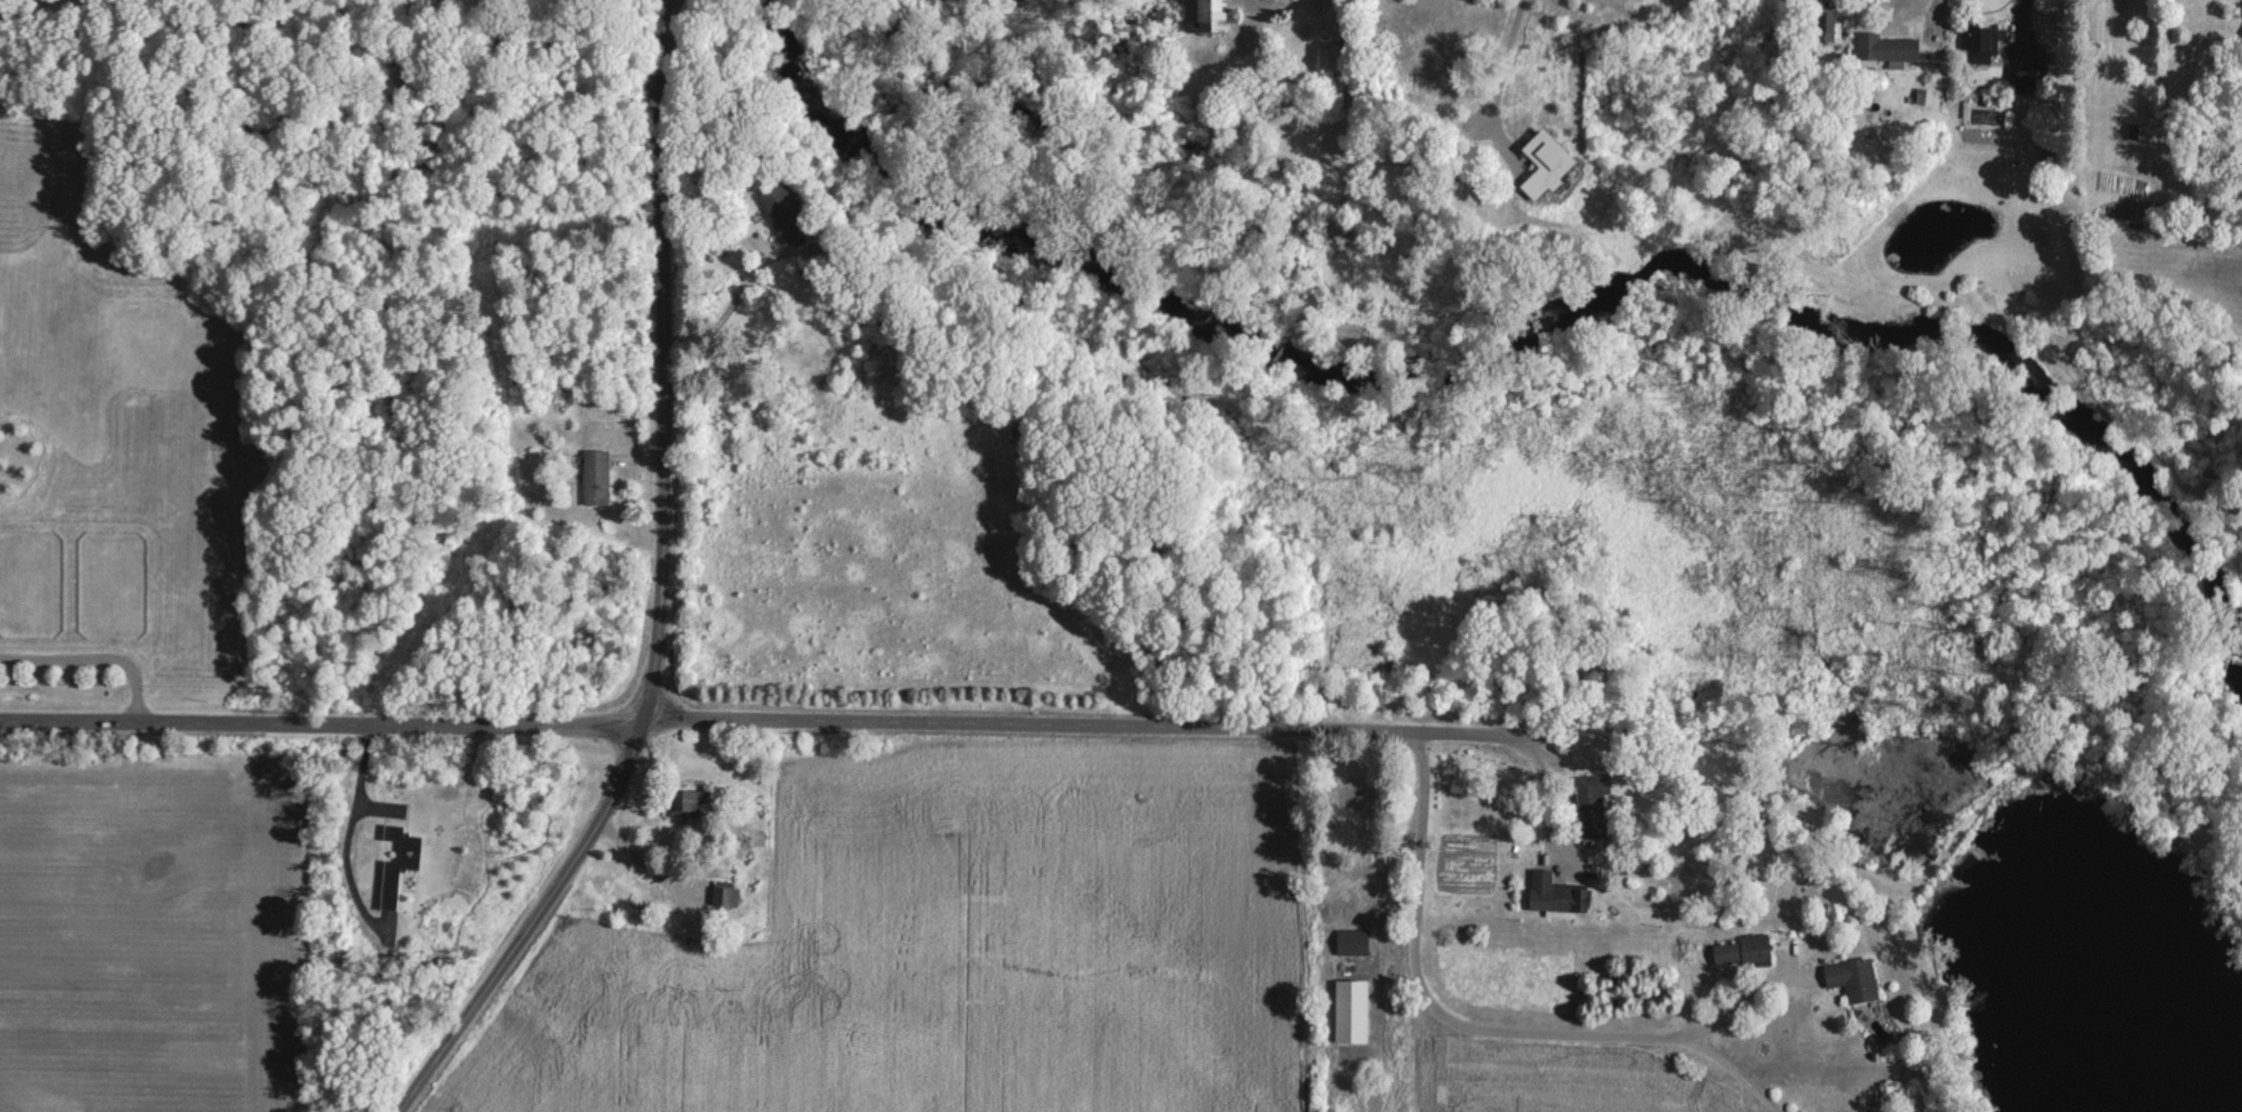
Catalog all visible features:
building: (1203, 14)
building: (1825, 20)
building: (1983, 43)
building: (1884, 46)
building: (1332, 59)
road: (1512, 61)
road: (2087, 64)
building: (2023, 77)
road: (1744, 86)
building: (787, 210)
road: (722, 304)
building: (882, 315)
river: (1529, 326)
road: (671, 361)
building: (596, 477)
road: (92, 662)
road: (1312, 714)
road: (328, 720)
road: (1535, 736)
building: (1345, 792)
building: (688, 802)
building: (1593, 806)
road: (351, 829)
building: (397, 861)
building: (1556, 895)
building: (725, 896)
building: (1329, 901)
road: (538, 921)
building: (1352, 942)
building: (1743, 950)
building: (1852, 977)
road: (1750, 997)
road: (1737, 1073)

